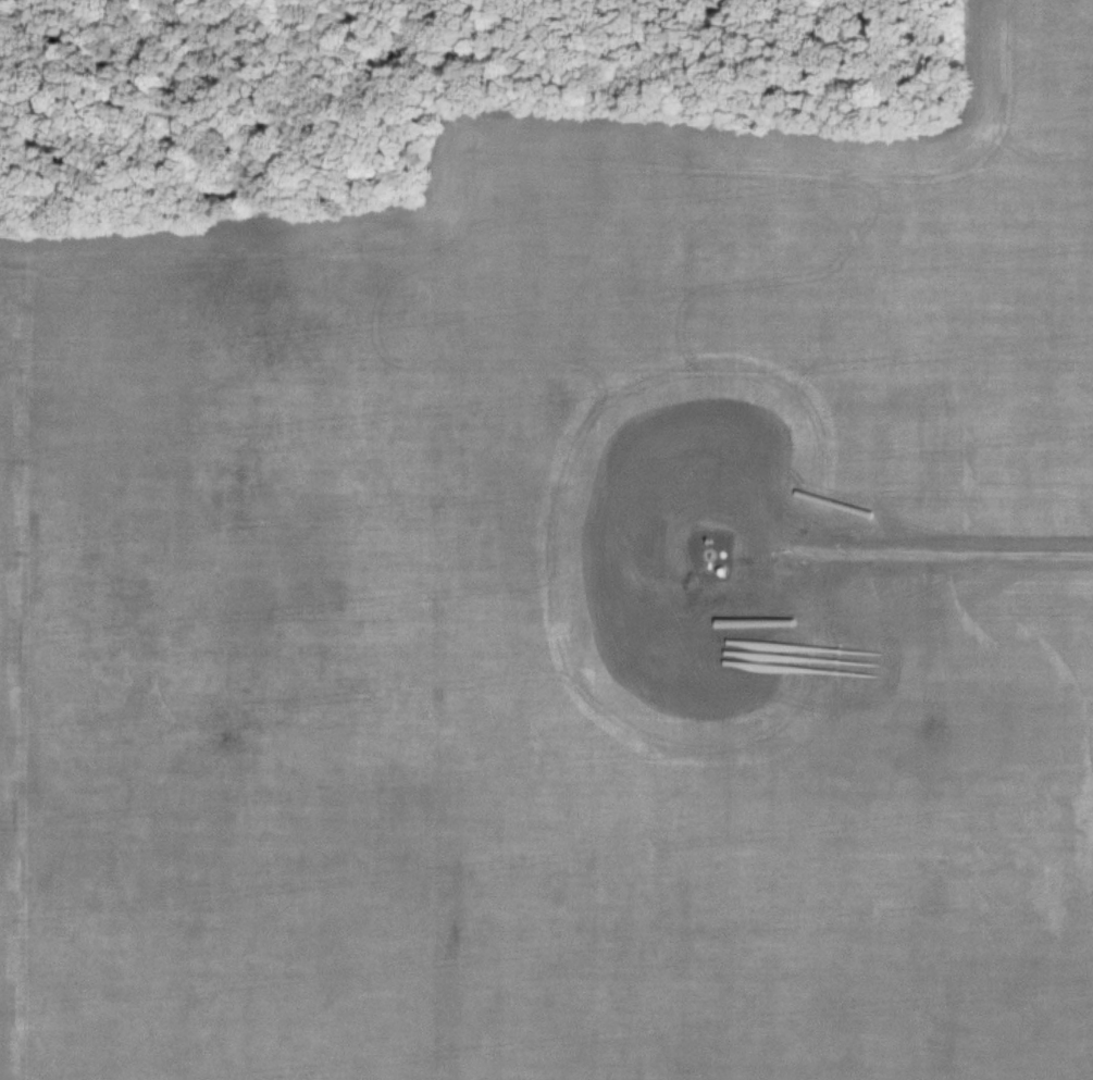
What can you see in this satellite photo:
road: (941, 551)
wind turbine: (710, 557)

